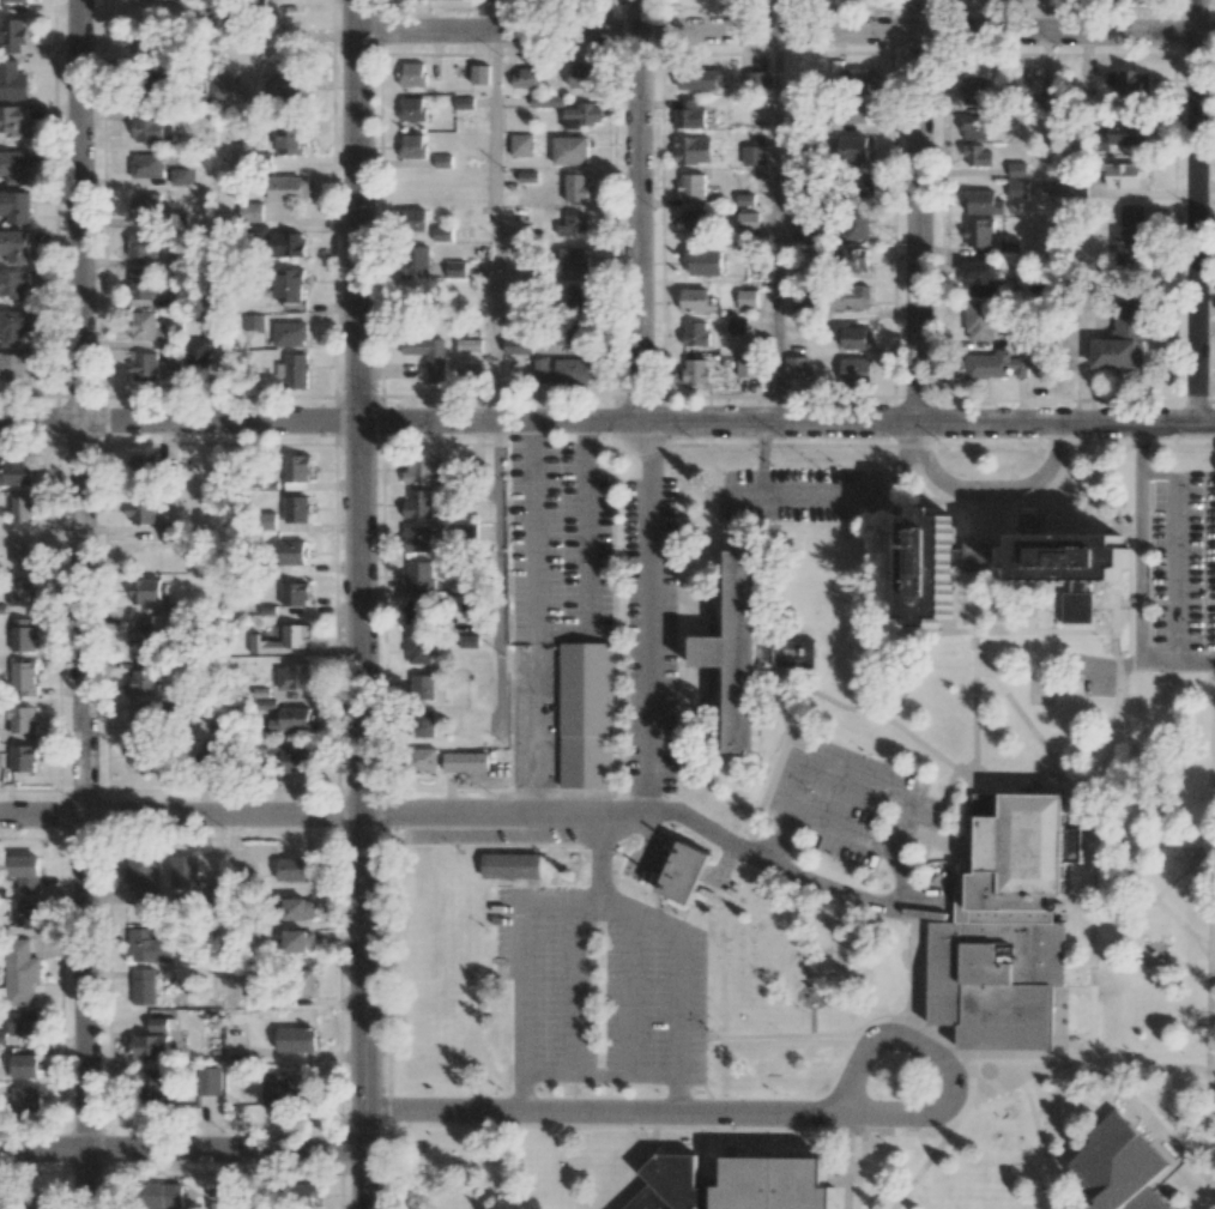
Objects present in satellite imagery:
building: (14, 0)
road: (786, 31)
building: (13, 35)
building: (146, 47)
building: (412, 74)
building: (480, 74)
building: (582, 75)
building: (851, 77)
building: (526, 79)
building: (700, 79)
building: (757, 79)
building: (13, 81)
building: (1130, 81)
building: (285, 85)
building: (222, 86)
building: (1027, 89)
building: (973, 90)
building: (546, 101)
building: (1050, 101)
building: (412, 109)
building: (853, 111)
building: (582, 115)
building: (689, 115)
building: (12, 119)
building: (977, 127)
building: (152, 131)
building: (1123, 135)
building: (291, 141)
building: (521, 145)
building: (413, 146)
building: (853, 147)
building: (569, 150)
building: (693, 150)
building: (752, 155)
building: (978, 156)
building: (146, 165)
building: (14, 167)
building: (1017, 169)
building: (1126, 175)
building: (180, 176)
building: (863, 186)
building: (576, 187)
building: (691, 187)
building: (1072, 187)
building: (288, 189)
building: (1017, 189)
building: (984, 202)
building: (145, 205)
building: (16, 206)
road: (923, 210)
building: (250, 211)
road: (643, 211)
road: (1196, 211)
building: (694, 220)
building: (413, 222)
building: (746, 222)
building: (858, 224)
building: (573, 225)
road: (496, 228)
road: (778, 228)
building: (800, 229)
building: (979, 232)
building: (443, 234)
building: (1129, 237)
building: (288, 244)
building: (14, 246)
building: (140, 246)
building: (176, 254)
building: (572, 259)
building: (854, 260)
building: (703, 261)
building: (416, 262)
building: (455, 268)
building: (980, 278)
building: (13, 284)
building: (140, 285)
building: (290, 285)
building: (579, 297)
building: (853, 297)
building: (746, 298)
building: (695, 300)
building: (803, 303)
building: (210, 316)
building: (980, 320)
building: (254, 322)
building: (737, 325)
building: (12, 327)
building: (146, 327)
building: (573, 333)
building: (695, 333)
building: (290, 334)
building: (857, 338)
building: (469, 345)
building: (518, 345)
building: (1119, 345)
building: (197, 352)
building: (427, 355)
building: (13, 365)
building: (145, 367)
building: (746, 367)
building: (797, 367)
building: (852, 368)
building: (695, 370)
building: (996, 370)
building: (292, 371)
building: (561, 371)
road: (358, 410)
road: (932, 422)
road: (504, 423)
road: (179, 425)
road: (762, 459)
building: (144, 469)
building: (419, 469)
road: (899, 471)
building: (16, 472)
building: (296, 472)
road: (986, 490)
road: (805, 495)
parking lot: (802, 496)
building: (419, 504)
building: (23, 508)
building: (296, 509)
building: (141, 510)
road: (533, 516)
building: (170, 532)
building: (421, 538)
road: (1178, 548)
building: (291, 552)
building: (23, 554)
road: (1002, 568)
parking lot: (1173, 568)
building: (926, 569)
building: (1068, 570)
building: (419, 575)
road: (1140, 578)
building: (145, 590)
building: (22, 592)
building: (295, 594)
parking lot: (588, 603)
road: (83, 604)
road: (1030, 606)
road: (1114, 609)
building: (416, 611)
road: (649, 613)
building: (23, 635)
building: (143, 635)
building: (295, 636)
building: (467, 641)
building: (418, 649)
park: (853, 651)
road: (925, 657)
building: (745, 661)
building: (294, 676)
building: (144, 677)
building: (24, 678)
building: (422, 687)
road: (906, 688)
road: (856, 711)
building: (585, 715)
building: (294, 718)
building: (23, 719)
building: (470, 721)
building: (423, 724)
building: (141, 725)
road: (974, 746)
building: (140, 755)
building: (24, 757)
building: (295, 761)
building: (445, 761)
road: (1105, 761)
road: (839, 767)
road: (1144, 787)
parking lot: (847, 799)
road: (647, 804)
road: (180, 818)
road: (936, 822)
road: (778, 835)
road: (1155, 845)
building: (1022, 862)
road: (597, 863)
building: (509, 868)
building: (292, 869)
building: (25, 872)
building: (185, 872)
building: (684, 873)
building: (140, 875)
road: (1153, 901)
road: (602, 905)
building: (297, 908)
building: (26, 913)
building: (300, 941)
building: (150, 947)
road: (1093, 954)
building: (20, 972)
building: (304, 983)
building: (997, 984)
building: (143, 986)
parking lot: (602, 987)
road: (569, 990)
road: (627, 993)
road: (1214, 1007)
road: (518, 1009)
road: (362, 1014)
building: (23, 1023)
building: (158, 1023)
road: (677, 1027)
road: (857, 1033)
building: (296, 1039)
building: (147, 1046)
road: (949, 1048)
building: (24, 1065)
road: (1038, 1068)
road: (992, 1074)
road: (597, 1076)
building: (207, 1081)
building: (151, 1083)
building: (283, 1090)
building: (25, 1099)
road: (1130, 1113)
road: (758, 1117)
road: (1149, 1120)
road: (1214, 1137)
road: (181, 1149)
building: (1119, 1167)
road: (856, 1171)
road: (223, 1179)
building: (669, 1184)
building: (775, 1184)
road: (1214, 1186)
building: (300, 1192)
building: (162, 1196)

